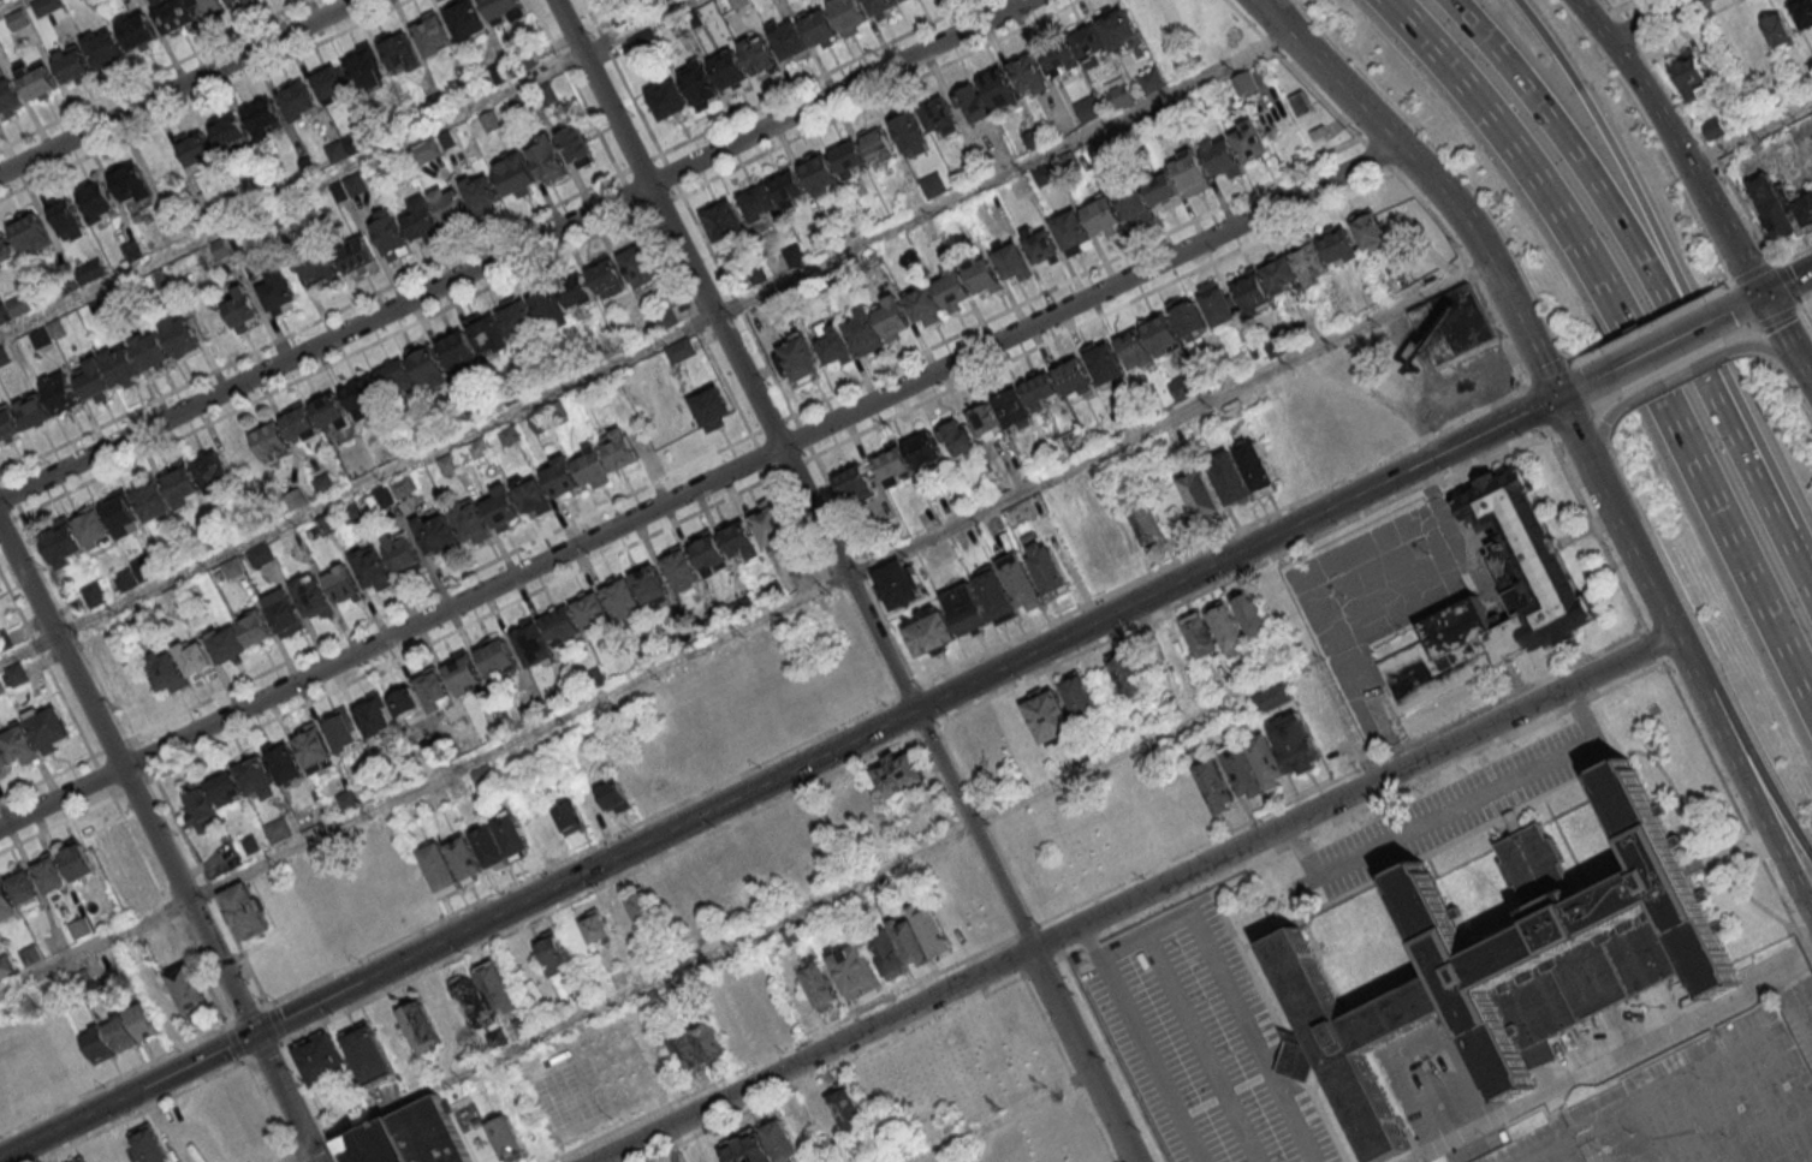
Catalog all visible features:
building: (903, 0)
building: (234, 1)
road: (10, 5)
building: (880, 5)
building: (46, 6)
building: (206, 6)
road: (1626, 6)
road: (1609, 8)
building: (505, 11)
building: (848, 13)
building: (173, 14)
building: (1146, 14)
building: (1802, 14)
building: (465, 18)
road: (1647, 18)
building: (819, 26)
building: (137, 29)
road: (1629, 32)
building: (1119, 34)
building: (432, 35)
building: (1777, 35)
building: (1747, 40)
building: (789, 41)
building: (105, 46)
building: (1089, 48)
building: (400, 52)
building: (1057, 53)
building: (758, 54)
building: (71, 62)
building: (366, 66)
building: (730, 68)
building: (1026, 70)
road: (154, 75)
road: (620, 76)
road: (816, 76)
building: (37, 79)
building: (1692, 79)
building: (699, 82)
building: (1152, 83)
building: (332, 84)
road: (176, 85)
building: (999, 88)
building: (8, 95)
building: (1119, 95)
road: (202, 99)
building: (669, 99)
building: (298, 100)
building: (1302, 106)
building: (1087, 108)
building: (937, 113)
building: (265, 115)
road: (1694, 126)
building: (907, 127)
building: (230, 130)
building: (1713, 131)
road: (1752, 137)
building: (1249, 139)
building: (878, 143)
building: (576, 145)
building: (197, 149)
building: (427, 149)
road: (1685, 154)
building: (848, 156)
building: (1222, 156)
building: (546, 157)
parking lot: (1781, 157)
road: (346, 167)
building: (819, 172)
building: (1190, 172)
building: (515, 174)
road: (1397, 179)
road: (1431, 180)
building: (130, 183)
building: (933, 184)
building: (788, 186)
building: (1160, 190)
building: (481, 192)
building: (97, 201)
building: (758, 201)
building: (450, 204)
building: (1782, 213)
building: (66, 216)
building: (1103, 216)
building: (422, 219)
building: (723, 220)
road: (670, 221)
building: (1367, 227)
building: (29, 231)
building: (1070, 231)
building: (390, 233)
building: (164, 237)
building: (1041, 245)
building: (1338, 245)
building: (6, 246)
road: (513, 249)
building: (131, 251)
building: (356, 254)
building: (794, 255)
road: (1633, 255)
road: (1664, 260)
building: (1012, 262)
building: (637, 263)
building: (317, 268)
building: (755, 273)
building: (1281, 274)
road: (1755, 275)
building: (608, 276)
building: (984, 276)
road: (396, 282)
road: (1788, 282)
building: (952, 286)
building: (575, 290)
road: (1768, 290)
building: (278, 292)
building: (1252, 292)
building: (922, 302)
building: (1218, 305)
road: (1801, 306)
building: (240, 308)
building: (549, 308)
road: (1101, 315)
building: (890, 316)
road: (1777, 316)
building: (1189, 318)
building: (517, 320)
road: (1652, 326)
building: (1452, 328)
building: (862, 330)
building: (1160, 333)
building: (179, 334)
building: (489, 334)
road: (1627, 334)
road: (673, 336)
road: (1659, 345)
road: (1768, 347)
building: (150, 348)
building: (457, 348)
building: (832, 348)
building: (1134, 348)
building: (682, 350)
road: (1795, 351)
building: (797, 360)
building: (1104, 362)
road: (331, 363)
building: (119, 364)
building: (427, 364)
road: (1673, 368)
road: (1677, 374)
road: (1547, 375)
building: (1073, 376)
building: (93, 377)
building: (398, 379)
road: (848, 383)
road: (1575, 386)
building: (1181, 388)
building: (1041, 391)
building: (64, 394)
traffic signals: (1557, 395)
building: (364, 397)
building: (1011, 406)
building: (32, 407)
building: (712, 407)
road: (1535, 407)
building: (329, 411)
road: (1169, 419)
road: (1570, 419)
building: (301, 421)
building: (985, 422)
building: (7, 423)
road: (1600, 433)
building: (958, 439)
building: (271, 440)
building: (619, 447)
building: (923, 449)
building: (448, 464)
building: (593, 465)
building: (892, 465)
building: (1254, 465)
building: (213, 472)
road: (1, 475)
building: (562, 476)
building: (1229, 478)
building: (182, 482)
building: (854, 483)
road: (699, 485)
building: (530, 494)
building: (1199, 494)
road: (12, 495)
building: (152, 499)
building: (501, 510)
building: (120, 512)
road: (11, 520)
building: (470, 522)
building: (1146, 522)
building: (770, 524)
building: (91, 525)
road: (1594, 525)
road: (553, 530)
building: (436, 532)
road: (1222, 538)
building: (63, 540)
building: (741, 540)
road: (1628, 541)
building: (1095, 547)
building: (708, 553)
building: (403, 554)
road: (1796, 564)
building: (681, 567)
building: (372, 568)
building: (1045, 568)
road: (578, 570)
road: (863, 573)
road: (1238, 574)
building: (648, 583)
building: (897, 583)
building: (1537, 583)
building: (94, 594)
parking lot: (1376, 594)
building: (992, 595)
building: (311, 596)
building: (622, 596)
building: (592, 610)
building: (284, 612)
building: (1253, 616)
building: (560, 624)
road: (77, 627)
building: (928, 631)
building: (1213, 632)
building: (240, 636)
building: (531, 642)
road: (1652, 644)
road: (25, 648)
building: (497, 655)
building: (195, 657)
road: (46, 666)
building: (461, 669)
building: (165, 671)
building: (1127, 674)
building: (432, 687)
road: (907, 692)
road: (909, 695)
building: (1079, 697)
building: (1271, 697)
road: (934, 701)
building: (404, 702)
building: (374, 714)
building: (1046, 715)
road: (898, 720)
building: (47, 727)
road: (925, 729)
building: (341, 731)
road: (530, 732)
building: (19, 743)
building: (1294, 743)
road: (114, 746)
building: (313, 749)
building: (4, 756)
road: (144, 757)
building: (1253, 765)
road: (1758, 769)
building: (658, 773)
building: (897, 775)
road: (1339, 775)
building: (256, 776)
road: (778, 776)
road: (102, 777)
road: (47, 779)
building: (1216, 786)
road: (132, 788)
road: (1351, 789)
road: (1549, 791)
building: (613, 795)
road: (1757, 802)
building: (866, 805)
road: (1451, 805)
building: (198, 808)
road: (1361, 808)
parking lot: (1454, 808)
road: (1736, 811)
building: (569, 817)
building: (1511, 821)
road: (985, 824)
road: (964, 835)
road: (159, 845)
building: (473, 854)
road: (141, 856)
building: (76, 862)
building: (733, 869)
building: (49, 872)
road: (872, 875)
building: (24, 888)
building: (689, 893)
road: (1177, 898)
building: (6, 902)
building: (640, 905)
road: (468, 907)
building: (244, 910)
road: (539, 917)
building: (622, 923)
road: (1165, 924)
building: (594, 925)
building: (81, 926)
road: (1024, 930)
building: (794, 935)
road: (105, 940)
road: (1088, 940)
building: (908, 941)
road: (1046, 941)
building: (168, 952)
building: (551, 953)
building: (1499, 955)
road: (1017, 957)
road: (1041, 965)
building: (6, 966)
building: (852, 970)
building: (1591, 977)
road: (1786, 979)
building: (818, 983)
building: (186, 988)
building: (482, 996)
road: (246, 1015)
building: (753, 1019)
building: (141, 1020)
road: (275, 1023)
road: (1276, 1023)
building: (420, 1027)
building: (120, 1032)
traffic signals: (253, 1033)
road: (234, 1042)
parking lot: (1201, 1042)
building: (97, 1043)
building: (696, 1045)
road: (783, 1049)
road: (263, 1050)
building: (366, 1051)
road: (1082, 1054)
road: (810, 1055)
building: (960, 1055)
building: (320, 1057)
road: (1113, 1059)
road: (1068, 1068)
road: (832, 1069)
road: (113, 1079)
road: (191, 1085)
parking lot: (1697, 1104)
building: (834, 1114)
road: (998, 1116)
building: (432, 1133)
building: (506, 1138)
building: (149, 1145)
building: (380, 1145)
building: (762, 1145)
building: (485, 1152)
road: (292, 1154)
road: (1400, 1156)
building: (82, 1161)

